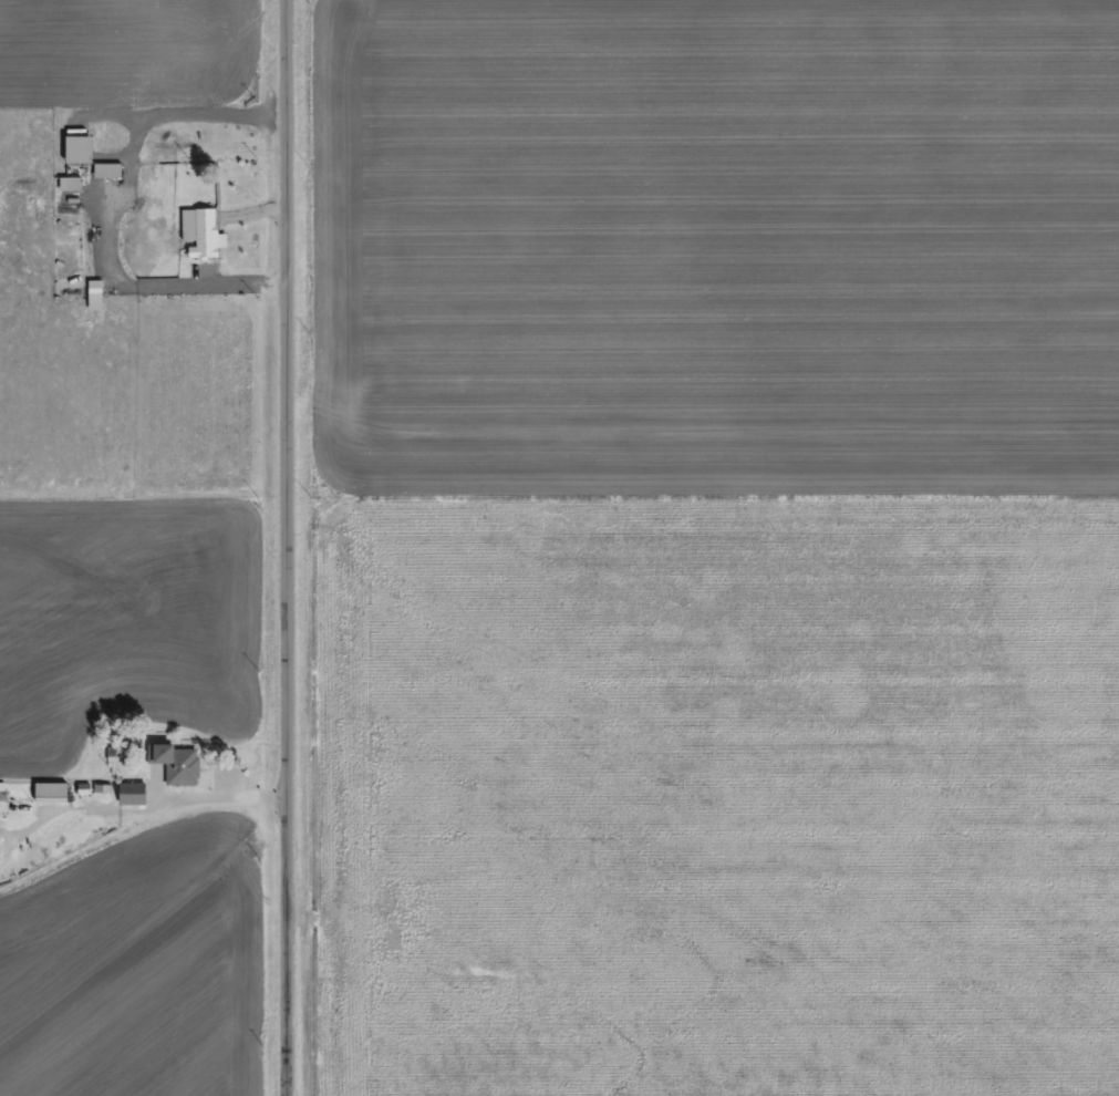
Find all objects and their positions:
building: (103, 179)
building: (65, 193)
building: (198, 241)
road: (298, 547)
building: (172, 772)
building: (45, 800)

